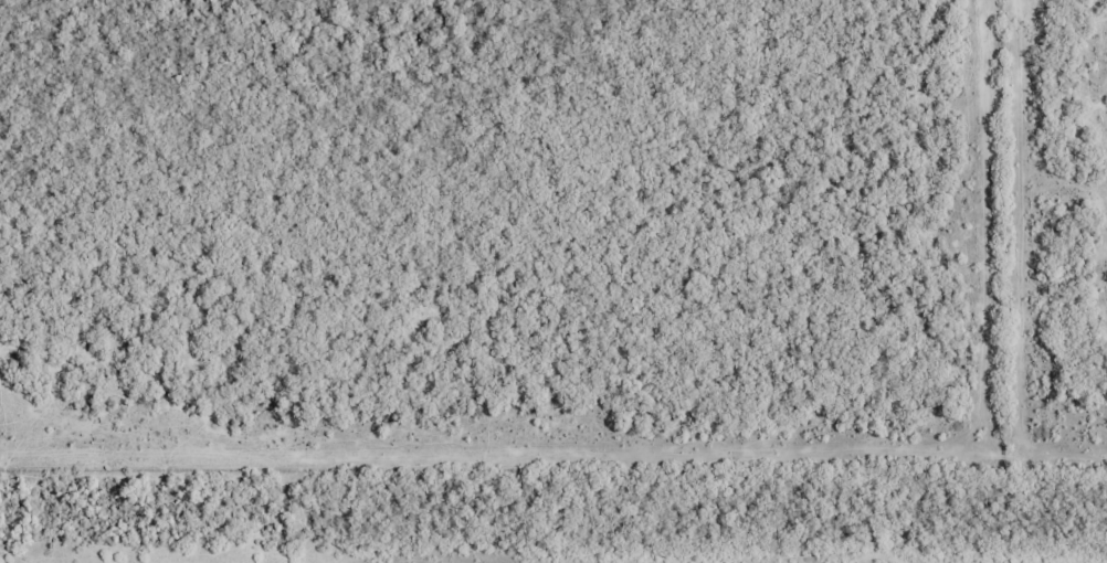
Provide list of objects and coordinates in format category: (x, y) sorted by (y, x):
road: (955, 284)

